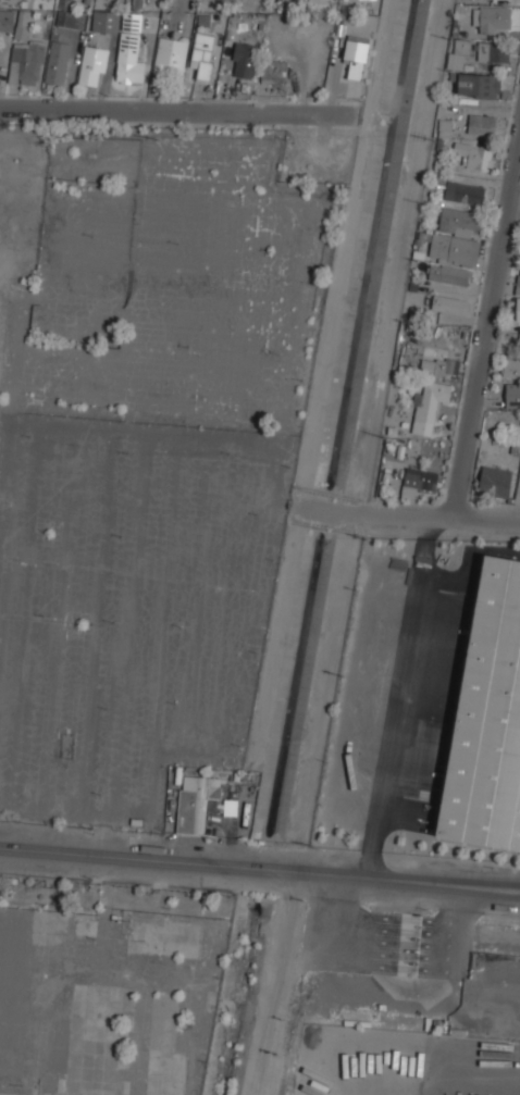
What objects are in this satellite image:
building: (321, 1)
building: (69, 15)
building: (494, 20)
building: (123, 41)
building: (463, 45)
building: (23, 47)
building: (492, 51)
building: (203, 53)
building: (356, 55)
building: (170, 57)
building: (243, 59)
building: (57, 62)
building: (92, 65)
building: (273, 71)
building: (479, 85)
road: (176, 110)
building: (481, 124)
building: (444, 127)
building: (474, 157)
building: (463, 192)
building: (459, 220)
building: (454, 249)
building: (449, 274)
building: (518, 283)
building: (449, 303)
building: (518, 310)
road: (485, 328)
building: (519, 348)
building: (430, 366)
building: (511, 369)
building: (512, 396)
building: (428, 406)
building: (419, 481)
building: (495, 482)
building: (518, 490)
road: (409, 518)
building: (487, 719)
road: (388, 744)
building: (195, 802)
building: (230, 807)
road: (238, 866)
road: (498, 884)
road: (498, 894)

